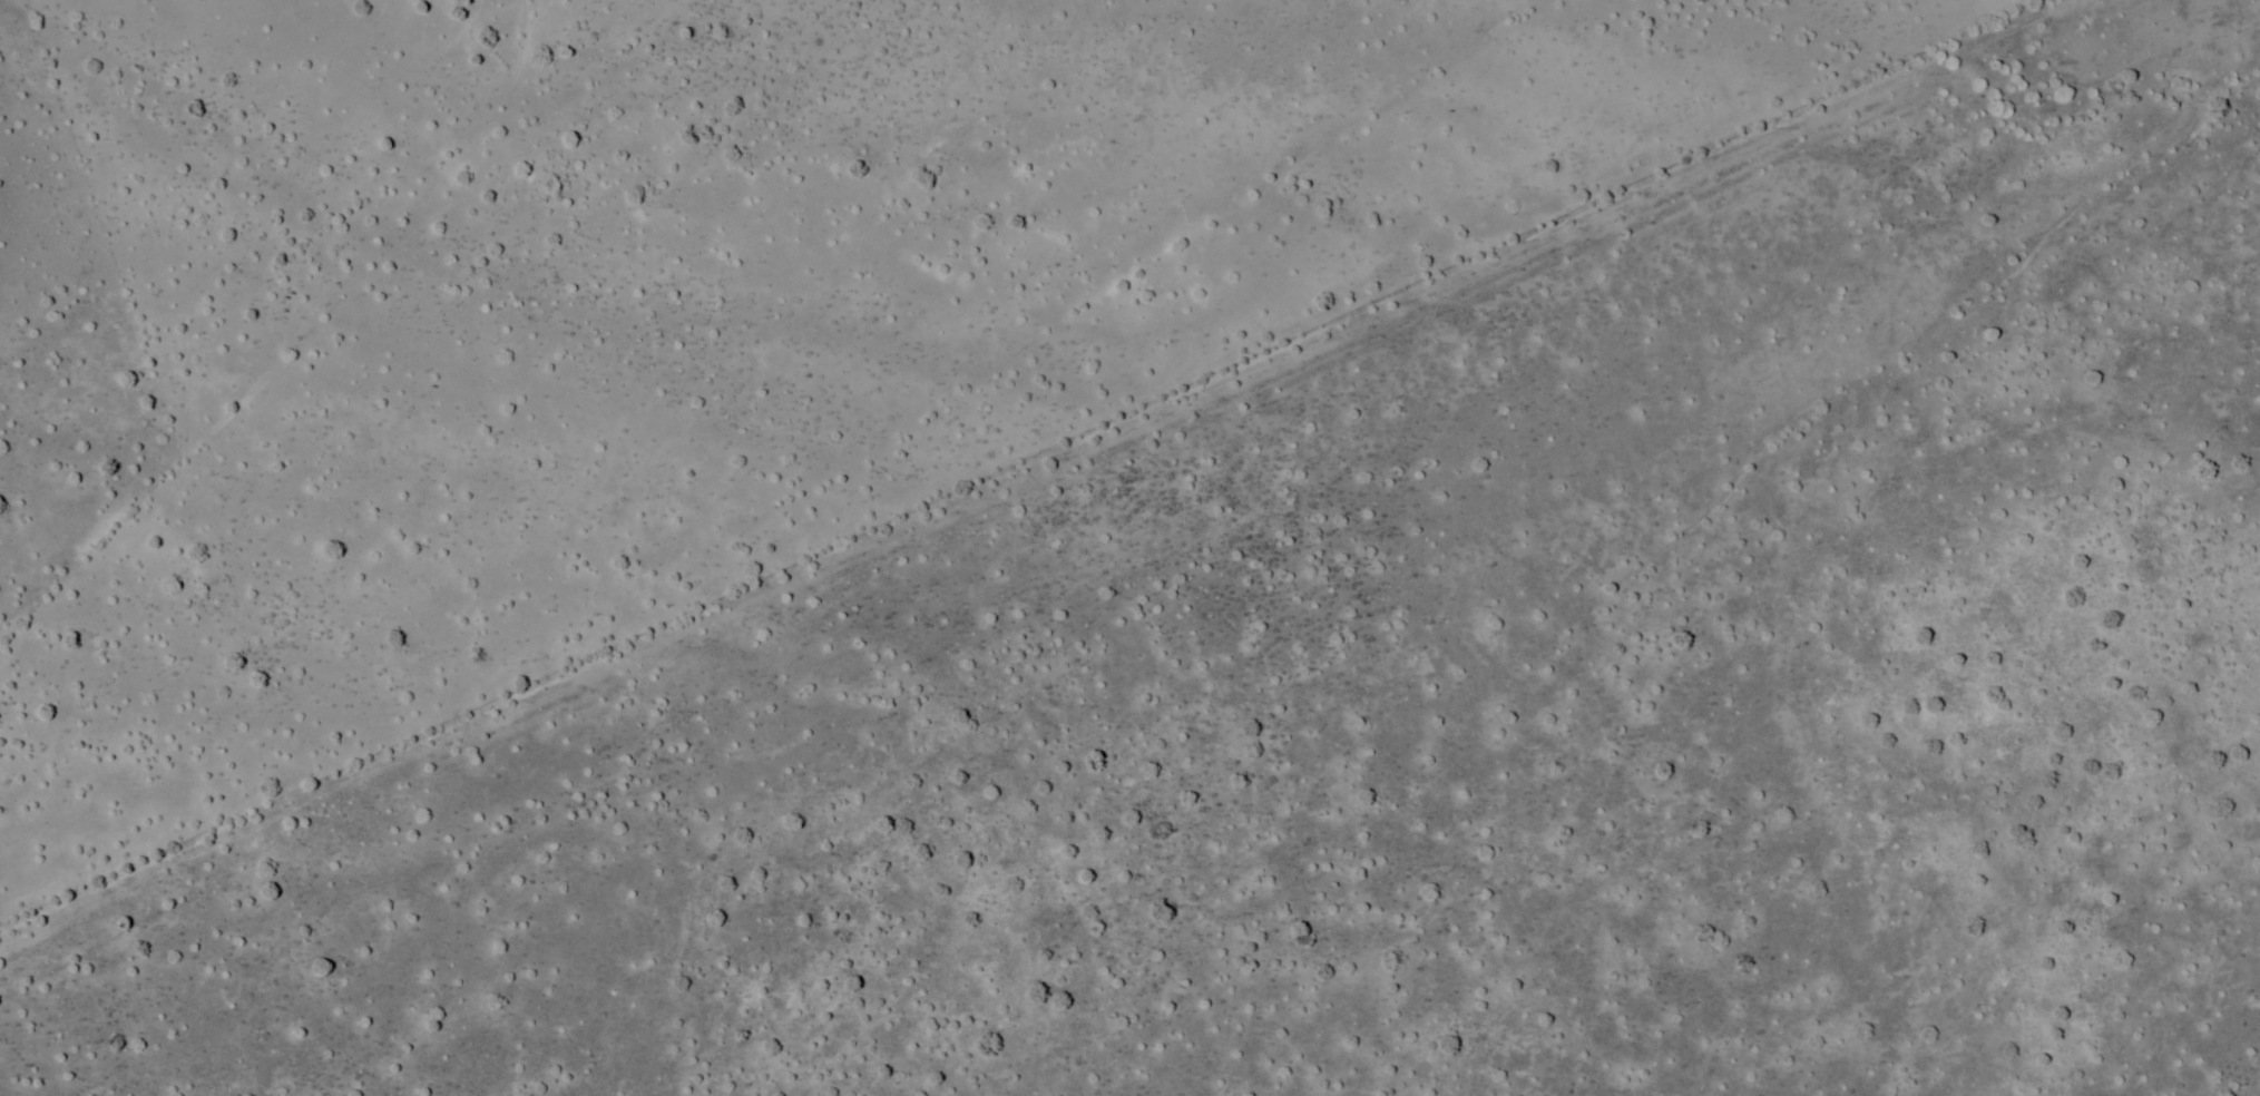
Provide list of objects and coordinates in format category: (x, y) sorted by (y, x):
road: (959, 419)

